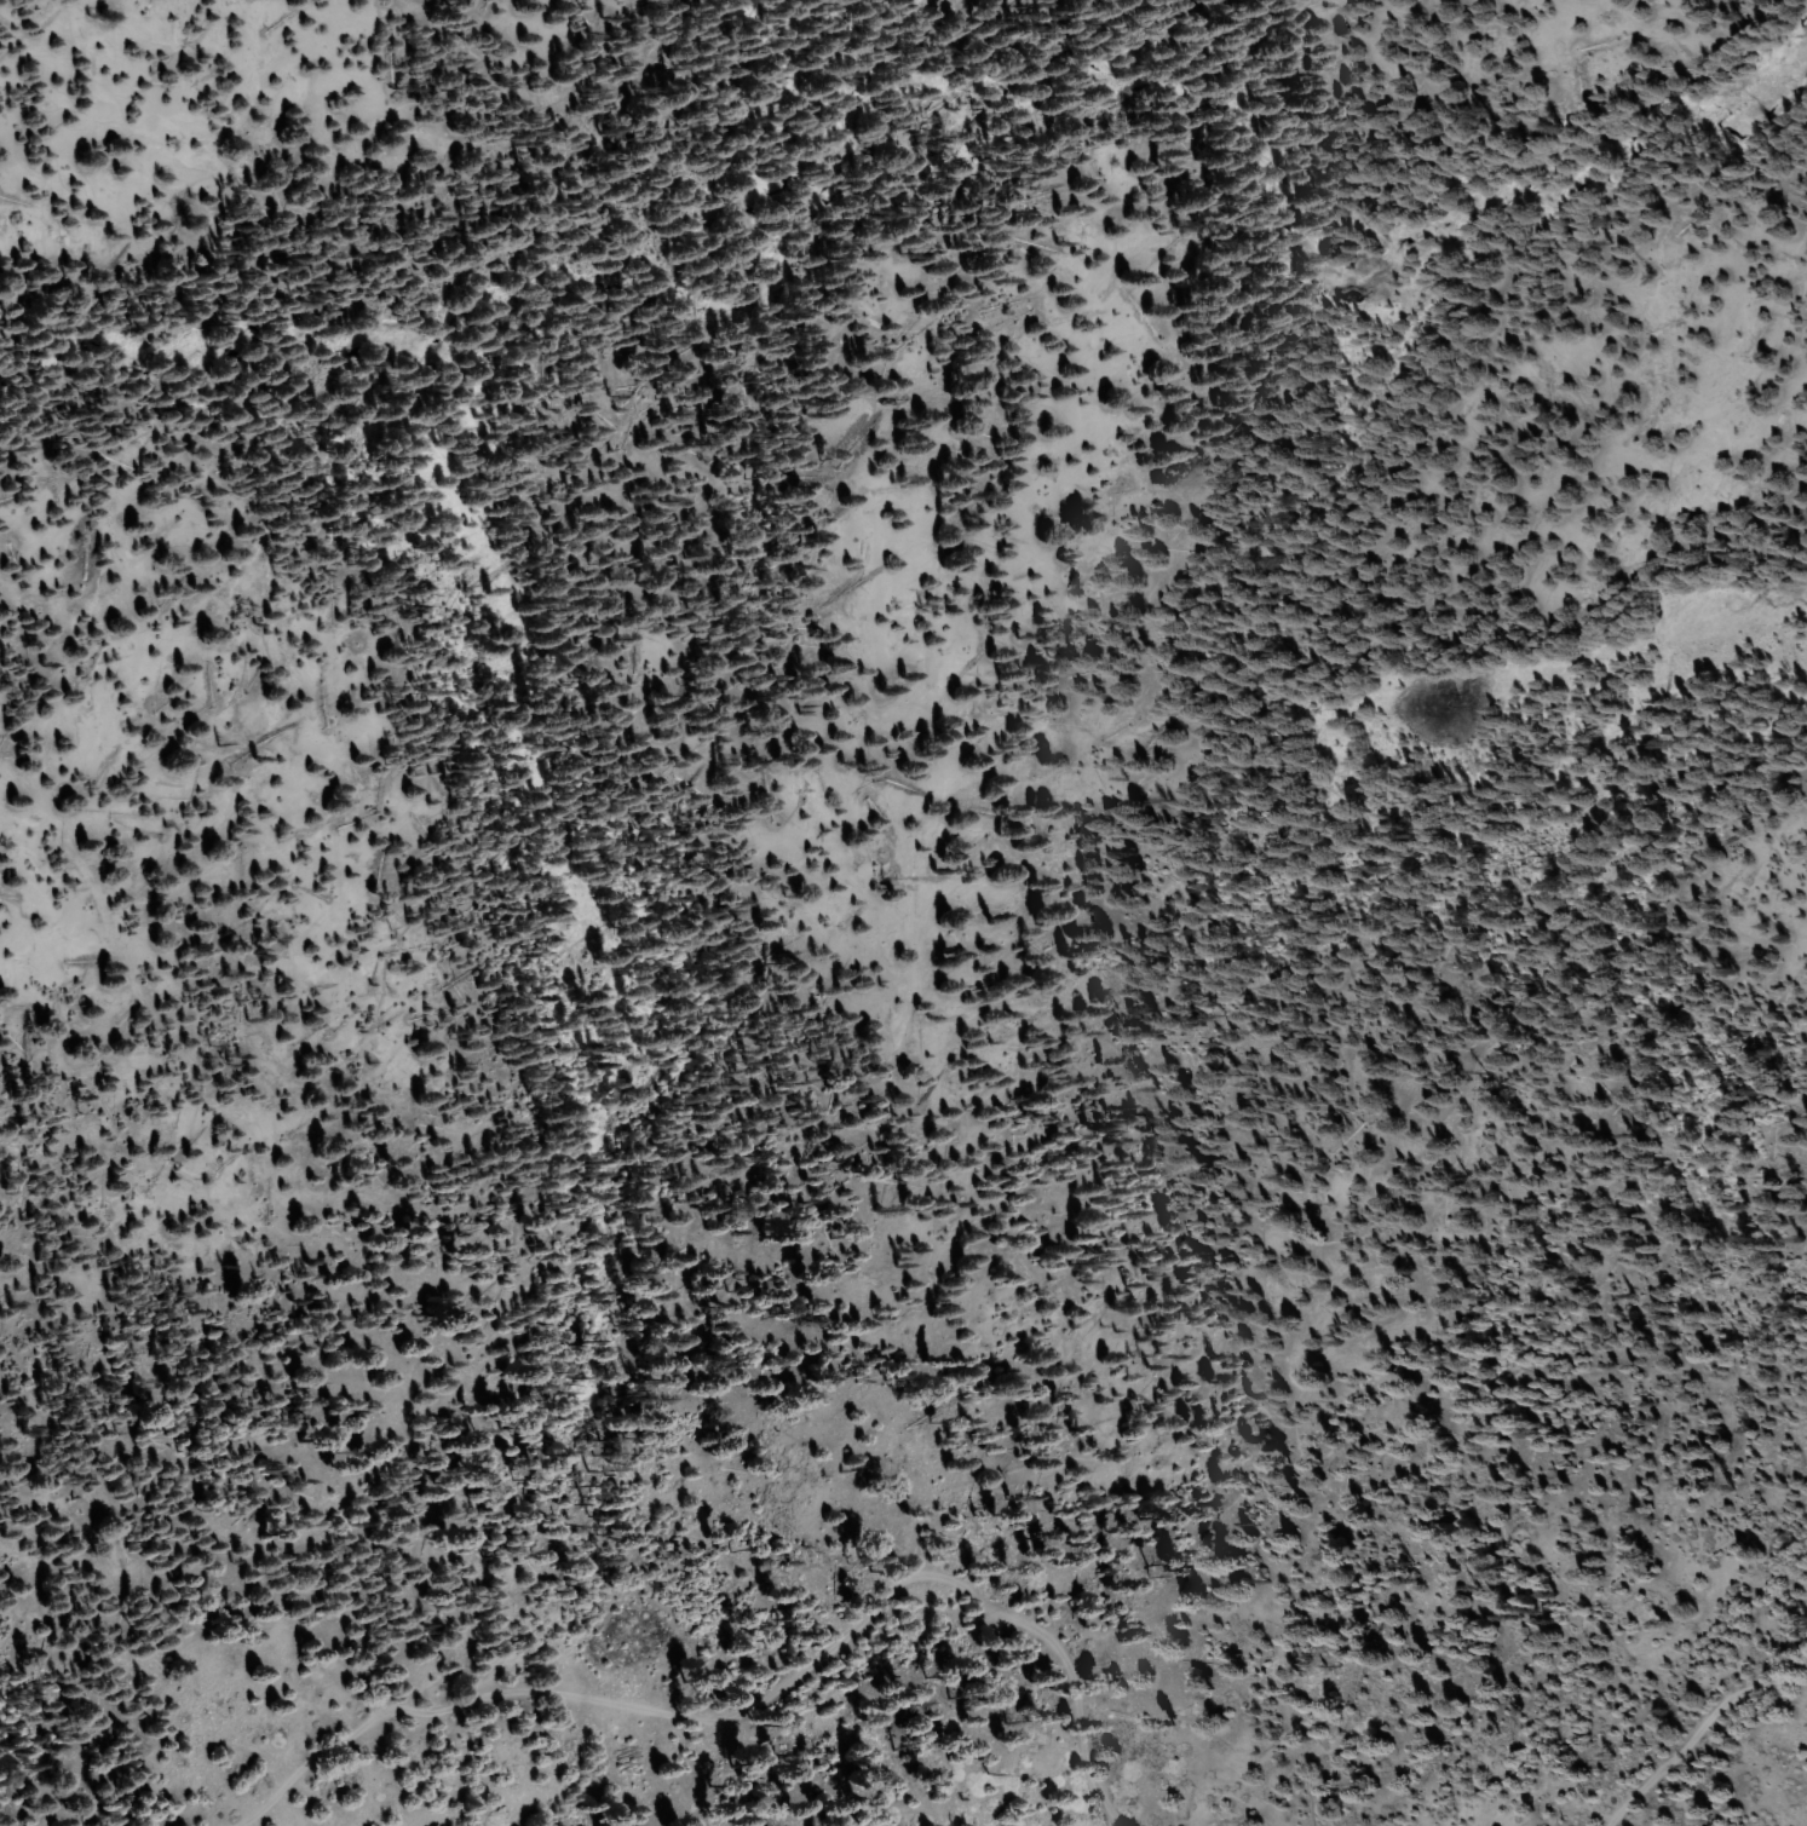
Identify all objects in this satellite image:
road: (765, 1684)
road: (1693, 1733)

